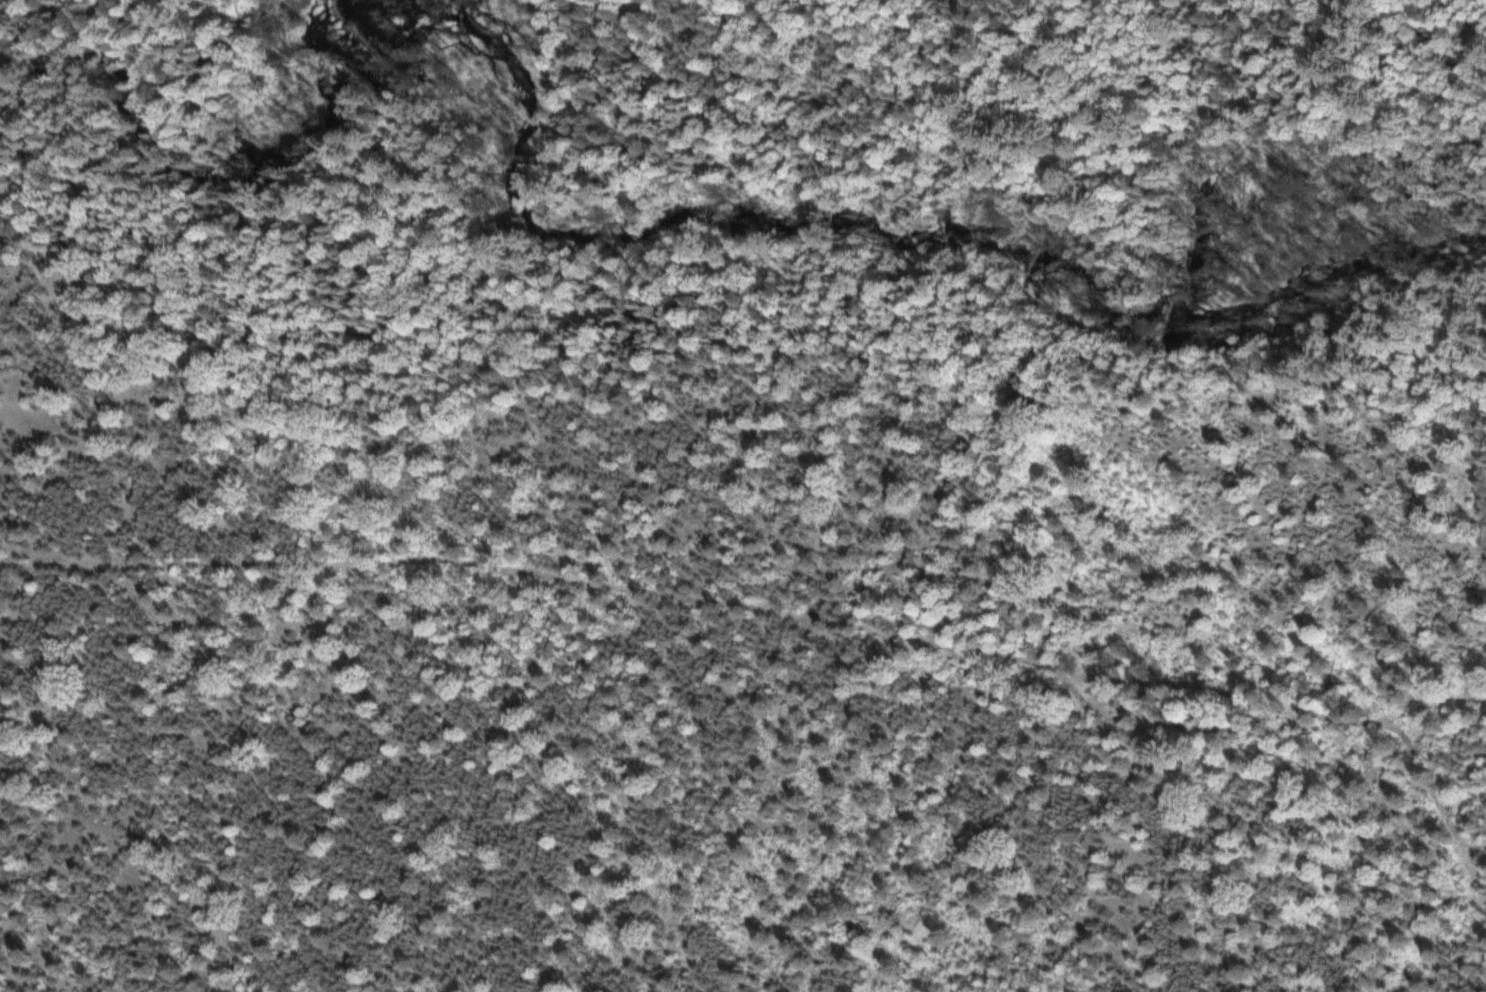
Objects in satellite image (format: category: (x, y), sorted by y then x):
road: (138, 38)
road: (986, 115)
road: (920, 495)
road: (790, 610)
road: (267, 734)

